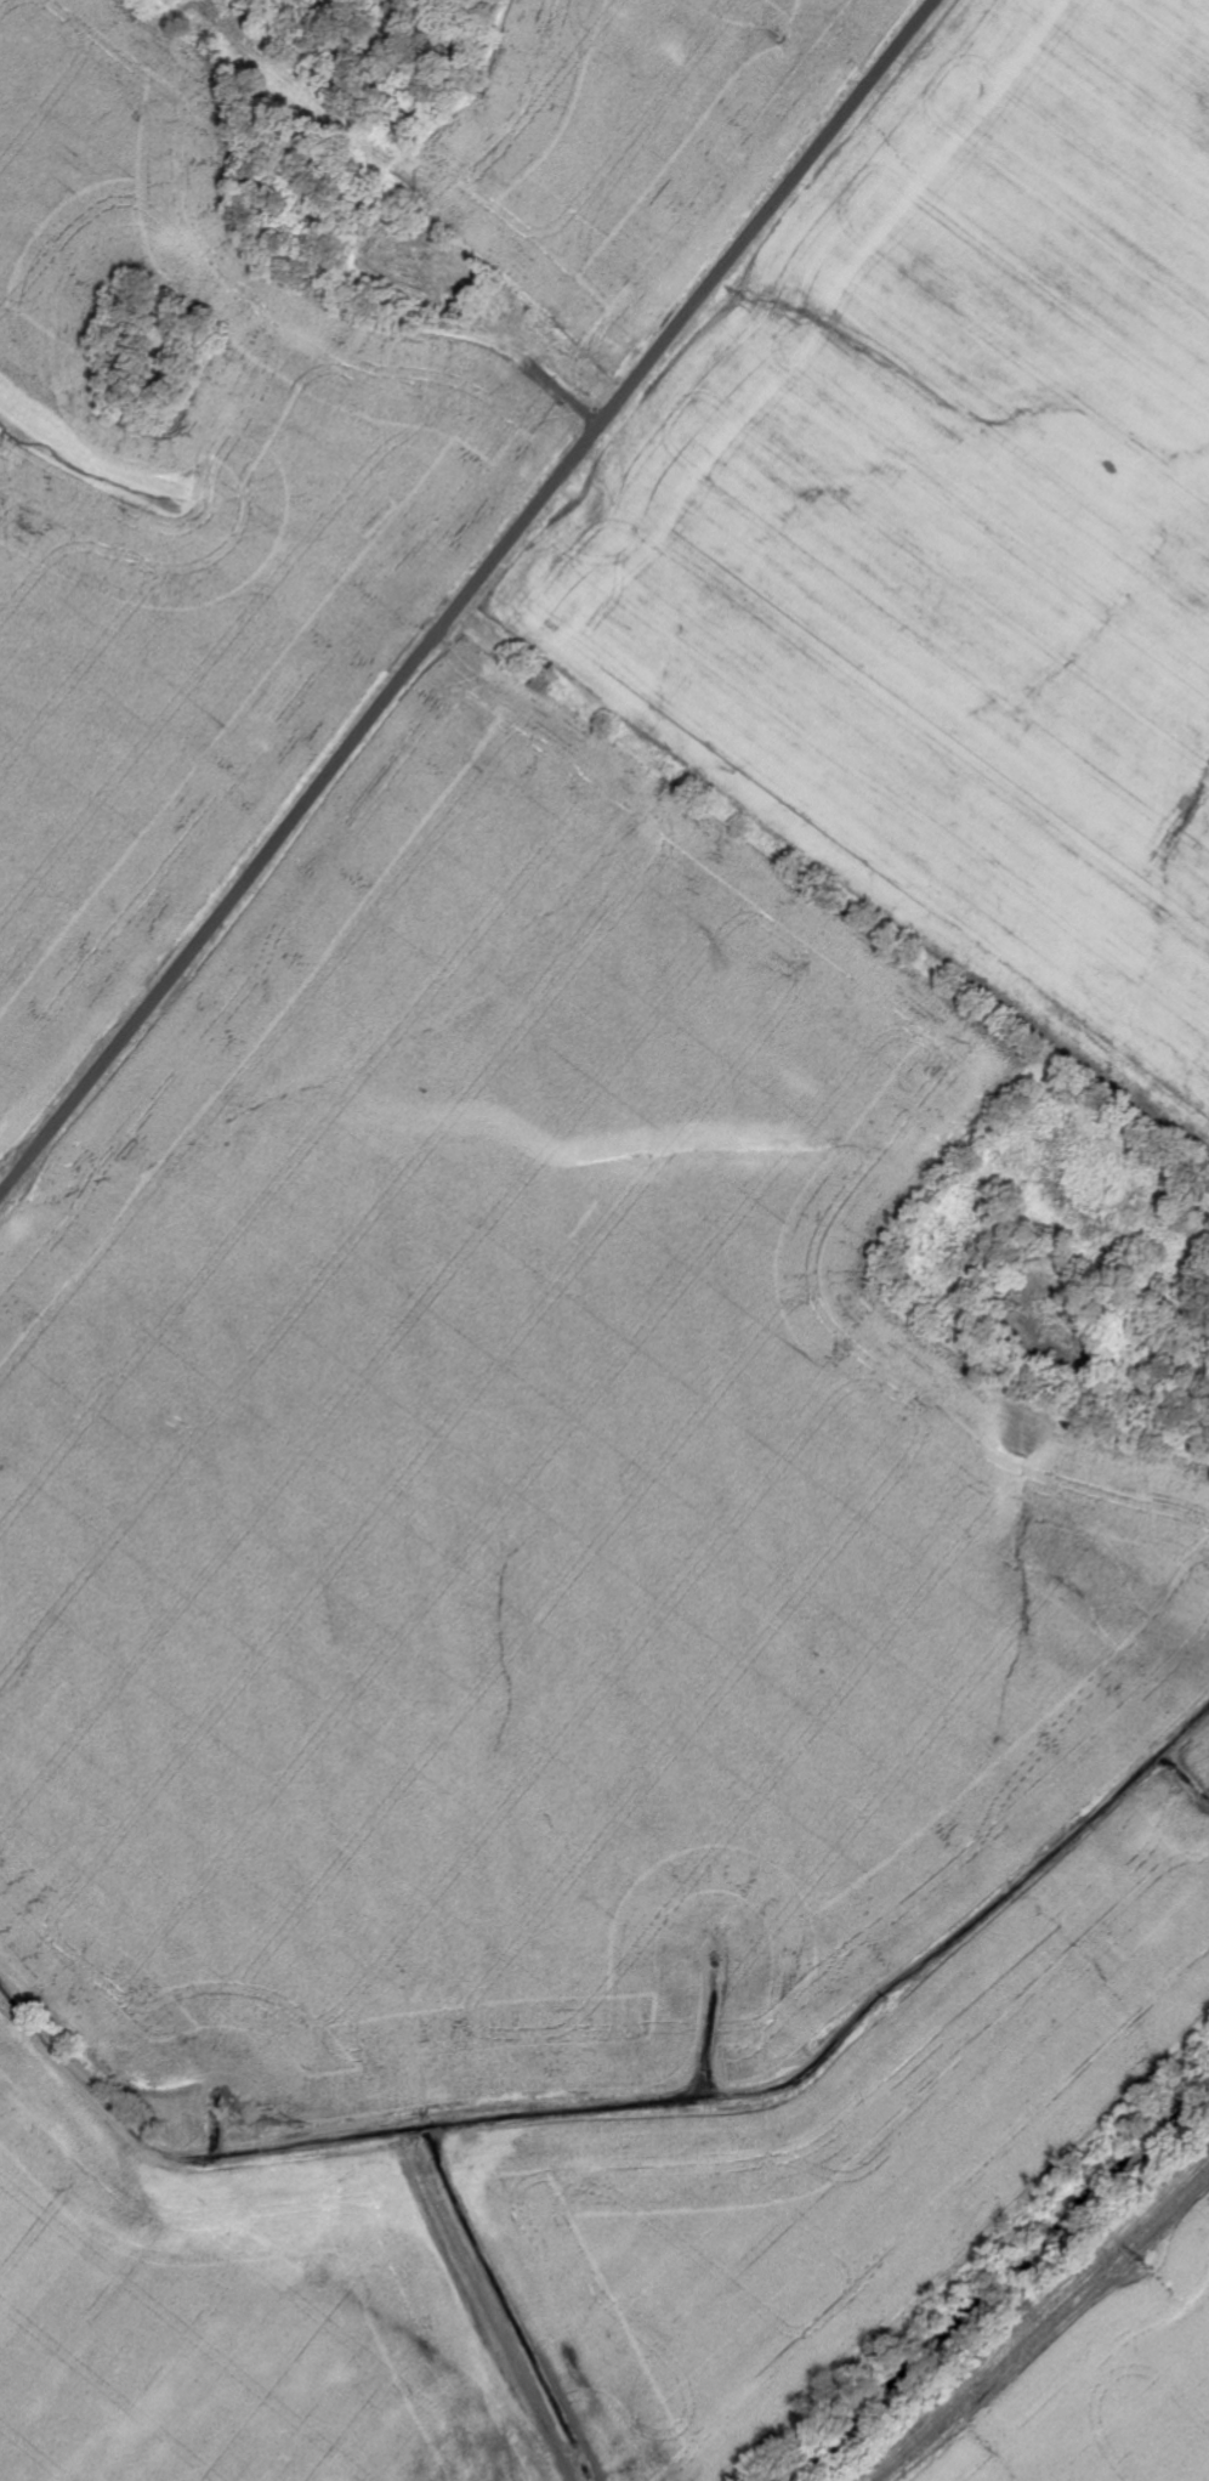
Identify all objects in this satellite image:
road: (466, 597)

